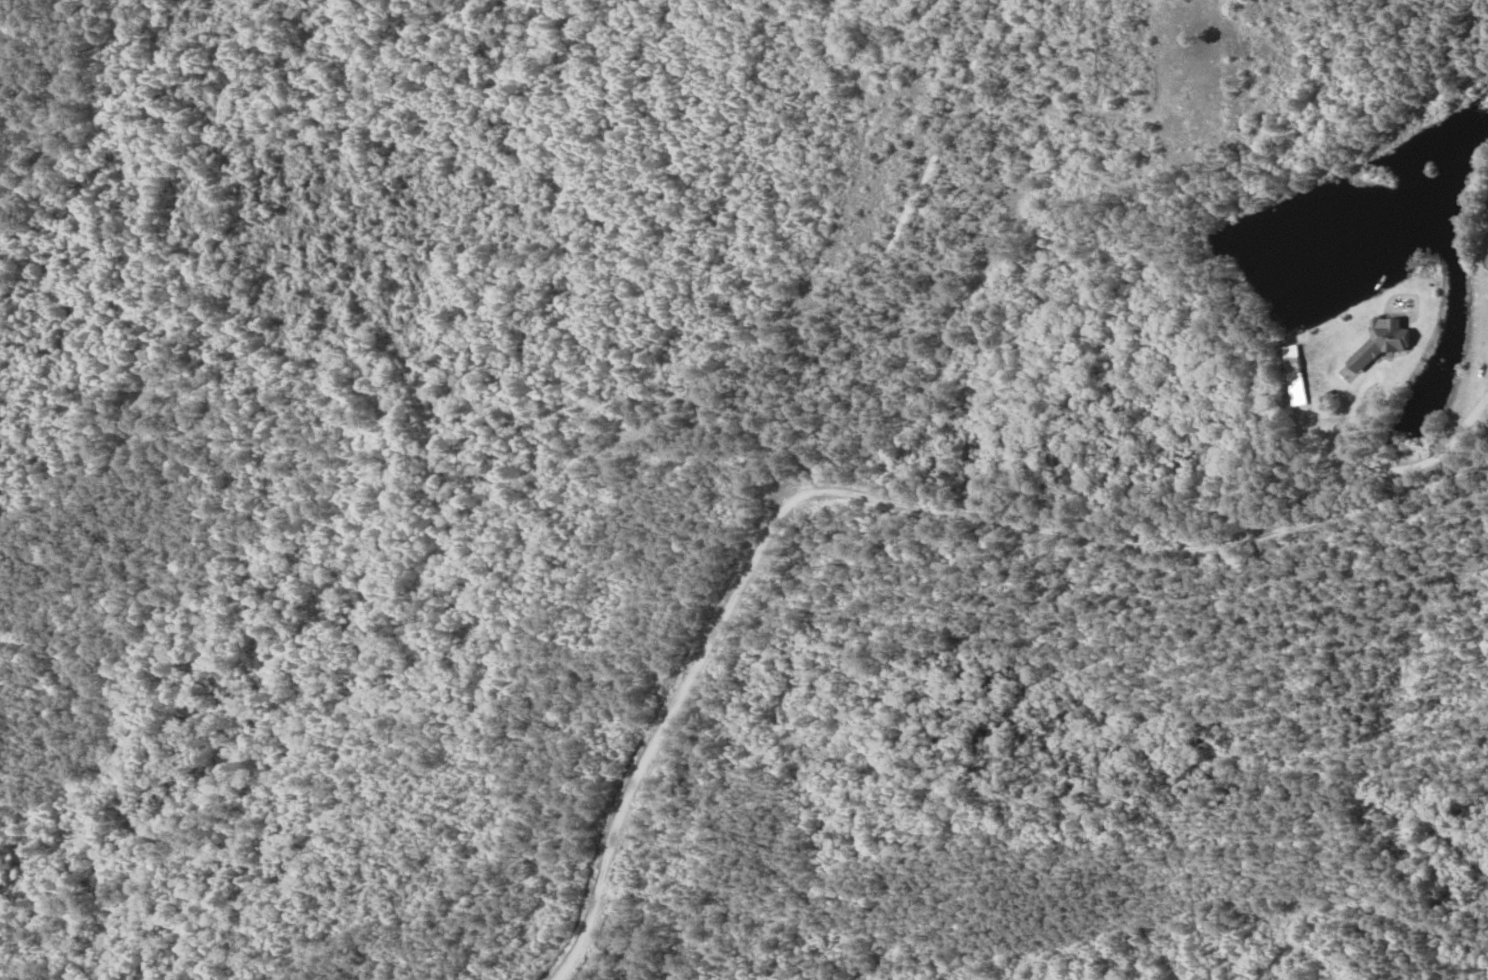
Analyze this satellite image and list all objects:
road: (892, 246)
building: (1381, 342)
building: (1293, 395)
road: (1414, 466)
road: (1148, 544)
road: (661, 729)

